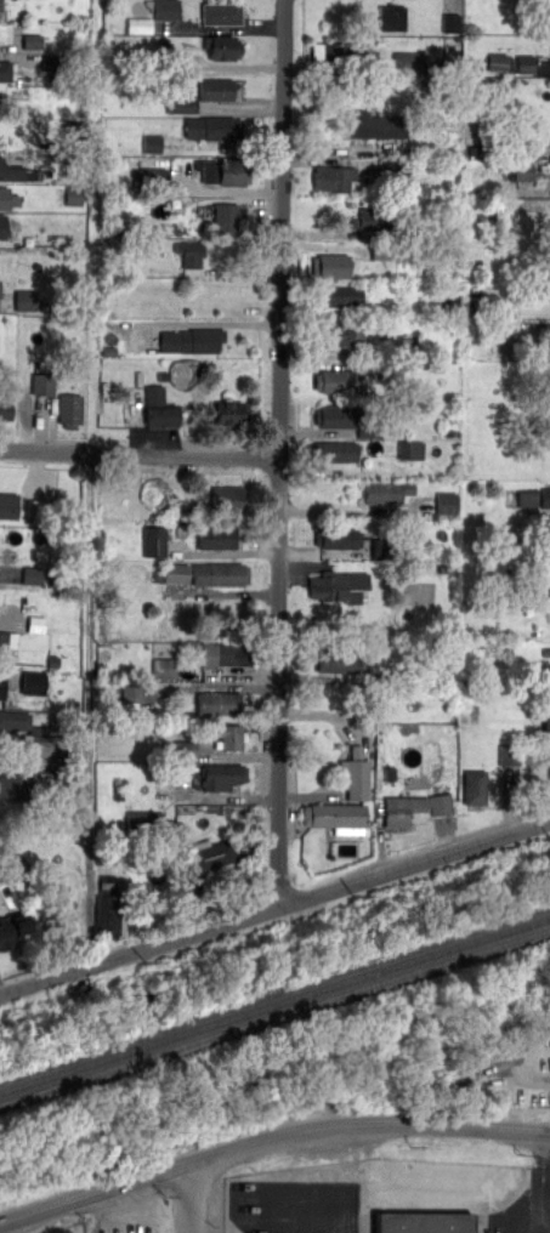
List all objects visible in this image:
building: (0, 5)
building: (165, 10)
building: (221, 13)
building: (391, 17)
building: (450, 22)
building: (138, 24)
building: (5, 32)
building: (30, 40)
building: (223, 47)
building: (325, 51)
building: (404, 62)
building: (495, 62)
building: (525, 63)
building: (5, 70)
building: (220, 89)
building: (180, 104)
building: (373, 125)
building: (212, 127)
building: (151, 143)
building: (522, 170)
building: (225, 171)
building: (15, 172)
building: (152, 177)
building: (333, 177)
building: (73, 195)
building: (4, 197)
building: (225, 218)
building: (364, 220)
building: (0, 226)
building: (381, 249)
building: (189, 252)
building: (329, 265)
building: (0, 282)
building: (339, 295)
building: (25, 300)
building: (341, 333)
building: (189, 340)
building: (334, 380)
building: (41, 383)
building: (5, 408)
building: (158, 408)
building: (69, 410)
building: (227, 411)
building: (334, 416)
building: (367, 428)
building: (409, 449)
building: (333, 450)
road: (140, 453)
road: (282, 453)
building: (386, 492)
building: (545, 496)
building: (227, 499)
building: (444, 501)
building: (7, 505)
building: (34, 507)
building: (216, 536)
building: (338, 539)
building: (153, 540)
building: (175, 573)
building: (32, 574)
building: (219, 574)
building: (338, 585)
building: (35, 624)
building: (6, 642)
building: (223, 654)
building: (336, 663)
building: (163, 667)
building: (32, 682)
building: (1, 687)
building: (216, 703)
road: (85, 709)
building: (13, 720)
building: (546, 720)
building: (227, 735)
building: (45, 746)
building: (186, 749)
building: (508, 752)
building: (222, 775)
building: (353, 778)
building: (15, 785)
building: (474, 786)
building: (440, 803)
building: (402, 808)
building: (334, 817)
building: (141, 819)
building: (211, 857)
building: (107, 881)
road: (274, 908)
building: (107, 911)
building: (11, 930)
railway: (274, 1004)
railway: (274, 1017)
parking lot: (505, 1069)
road: (514, 1073)
road: (426, 1124)
road: (152, 1175)
road: (186, 1199)
building: (423, 1221)
road: (548, 1226)

